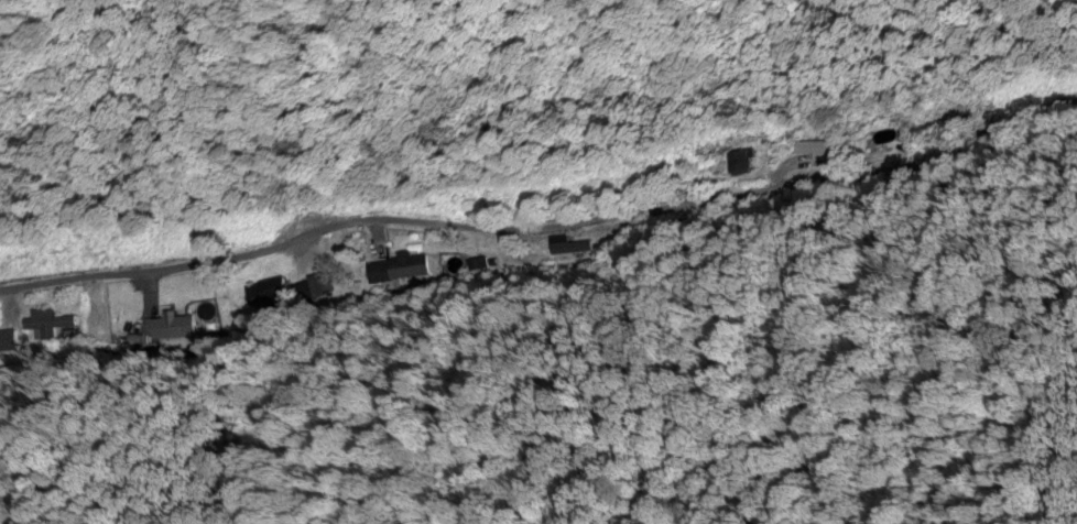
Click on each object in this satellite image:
road: (547, 189)

